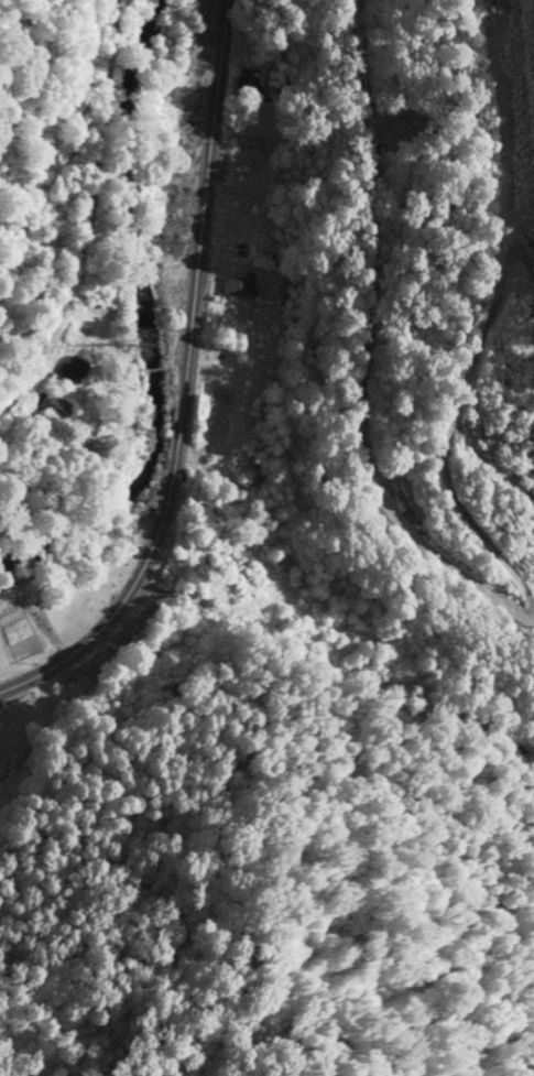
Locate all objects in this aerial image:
building: (250, 143)
building: (241, 286)
building: (74, 367)
road: (182, 378)
building: (55, 405)
building: (347, 639)

